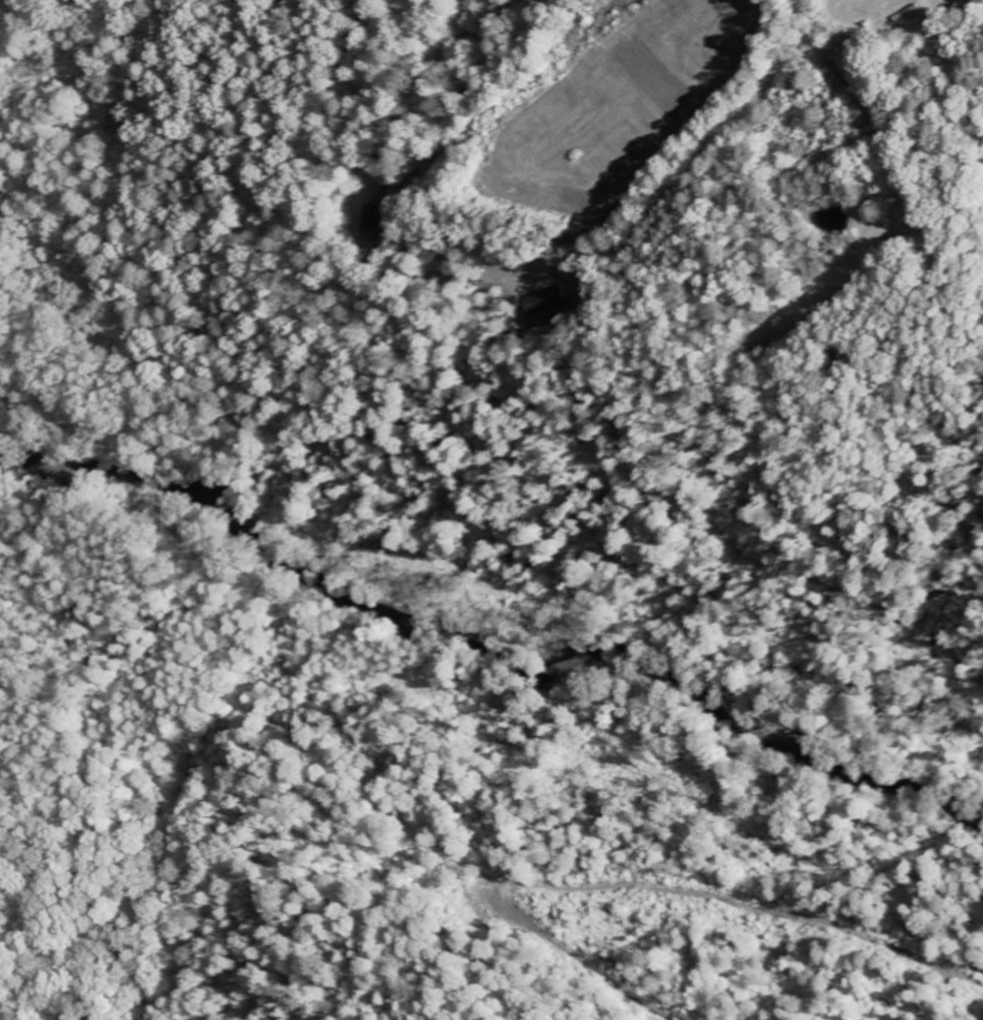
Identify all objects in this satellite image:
building: (542, 301)

